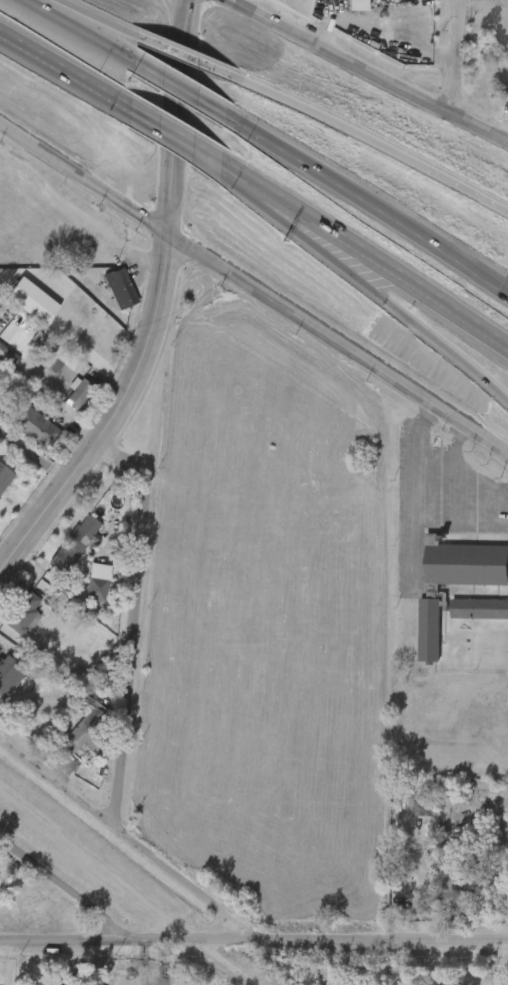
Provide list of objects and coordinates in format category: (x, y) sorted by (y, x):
building: (345, 9)
road: (97, 18)
road: (79, 31)
road: (383, 36)
road: (183, 56)
road: (462, 57)
building: (507, 60)
building: (500, 68)
road: (370, 70)
road: (65, 72)
road: (179, 89)
building: (502, 106)
road: (175, 136)
road: (503, 137)
road: (370, 139)
road: (243, 178)
road: (367, 205)
road: (299, 227)
road: (388, 269)
road: (255, 286)
building: (121, 287)
building: (107, 297)
building: (20, 309)
road: (155, 310)
road: (421, 328)
building: (104, 346)
building: (8, 354)
building: (44, 384)
building: (79, 390)
building: (36, 429)
building: (23, 436)
road: (465, 466)
building: (0, 484)
road: (415, 491)
road: (459, 495)
building: (2, 505)
road: (494, 507)
road: (477, 529)
road: (501, 529)
building: (76, 544)
building: (95, 588)
building: (83, 591)
building: (437, 595)
building: (25, 615)
building: (469, 617)
building: (12, 621)
road: (132, 623)
building: (9, 672)
building: (1, 702)
building: (89, 729)
building: (74, 737)
building: (409, 815)
road: (126, 836)
building: (500, 869)
building: (467, 887)
road: (61, 890)
building: (454, 893)
road: (254, 939)
road: (486, 964)
building: (56, 984)

